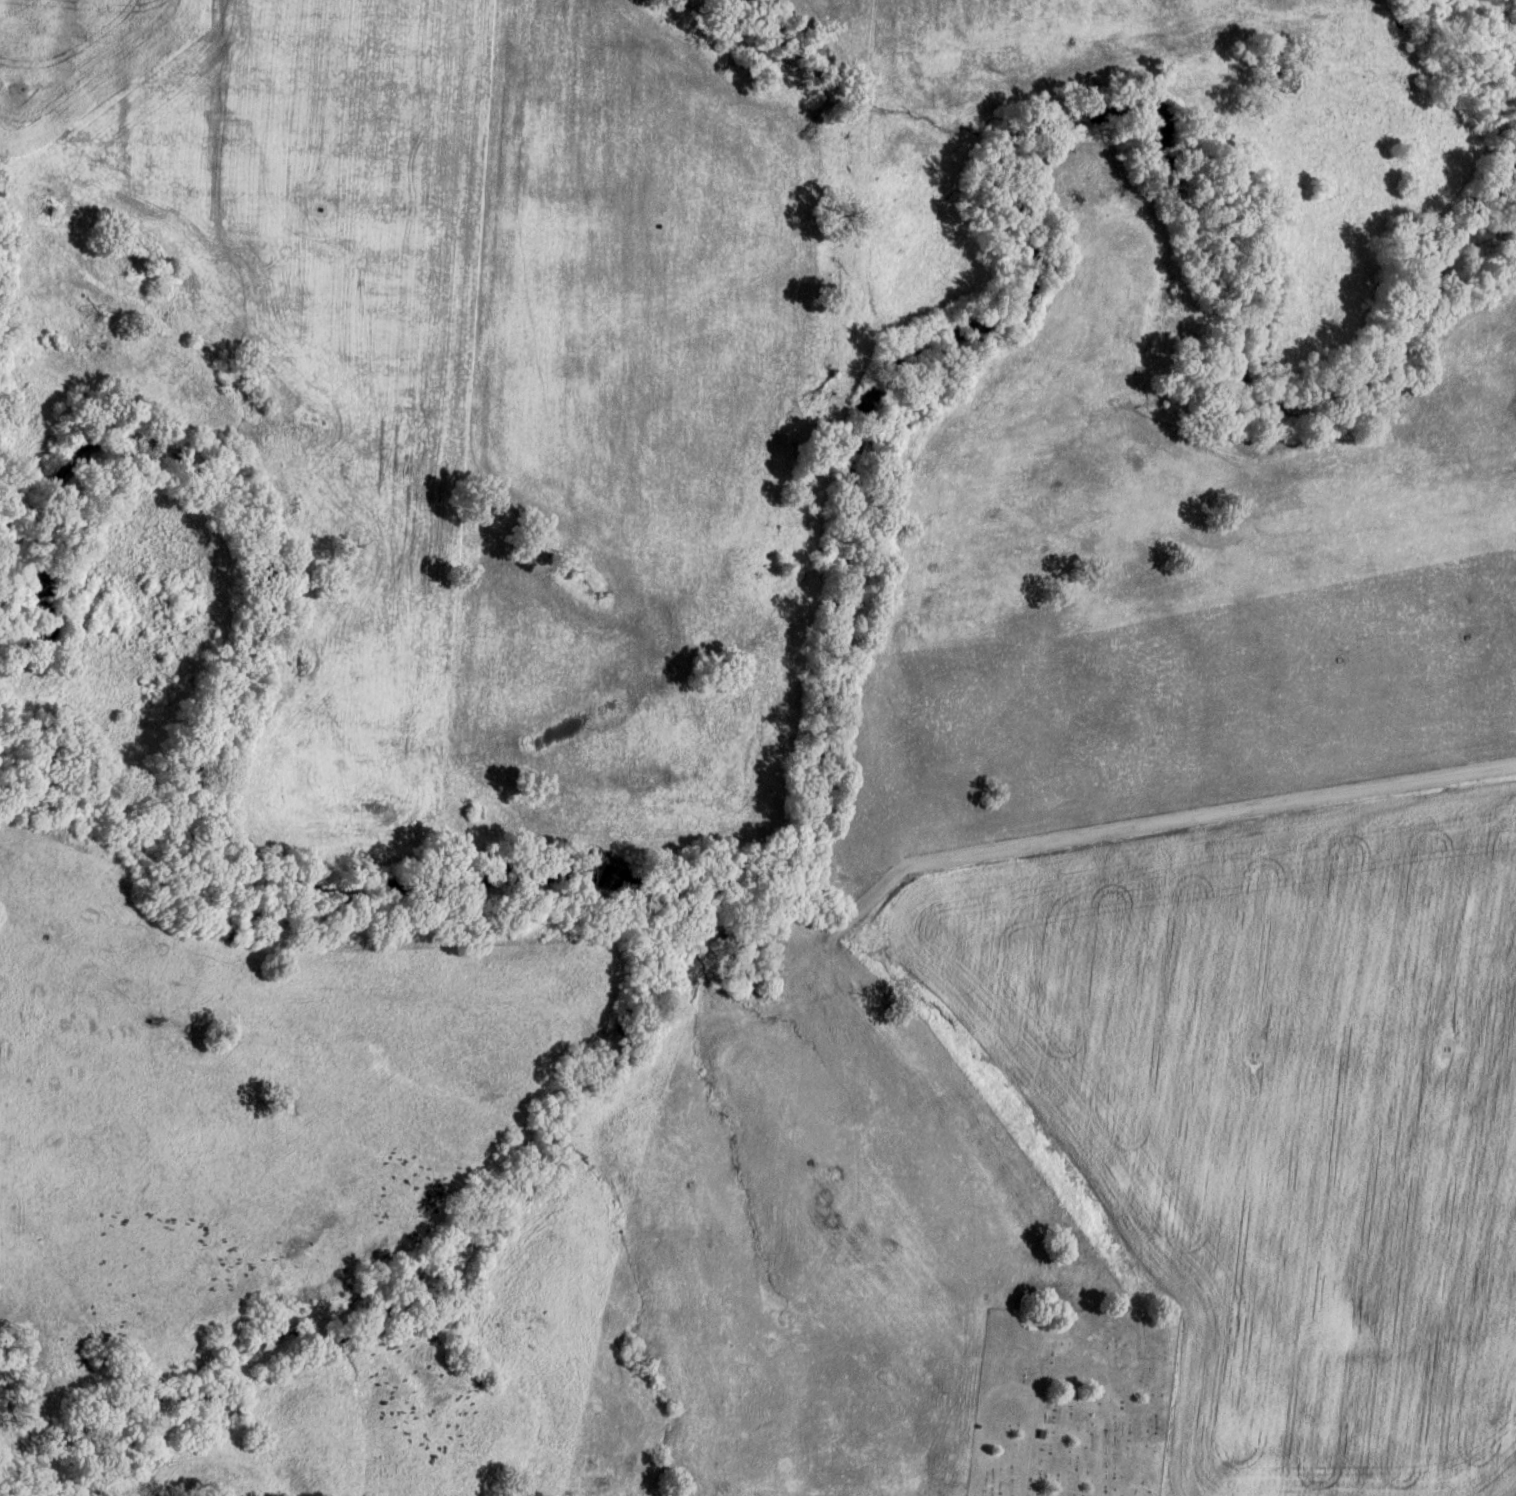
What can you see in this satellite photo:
park: (1071, 1401)

